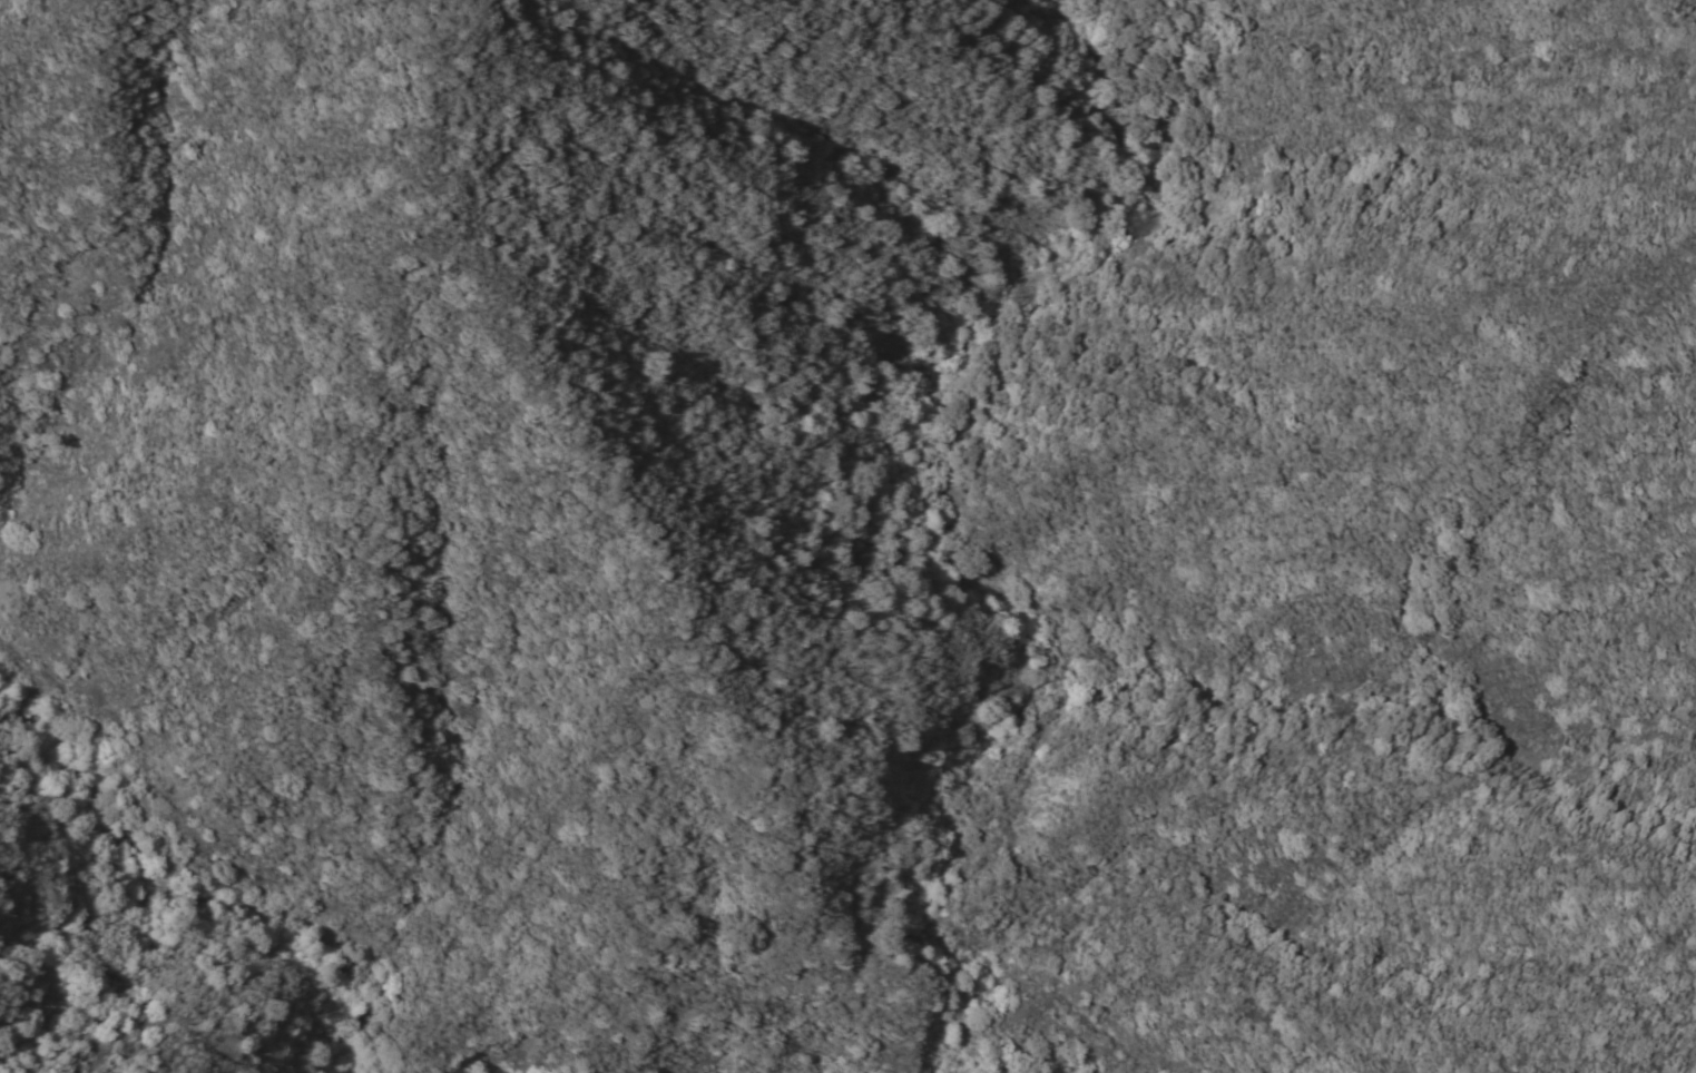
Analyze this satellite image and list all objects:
road: (37, 990)
road: (685, 1063)

